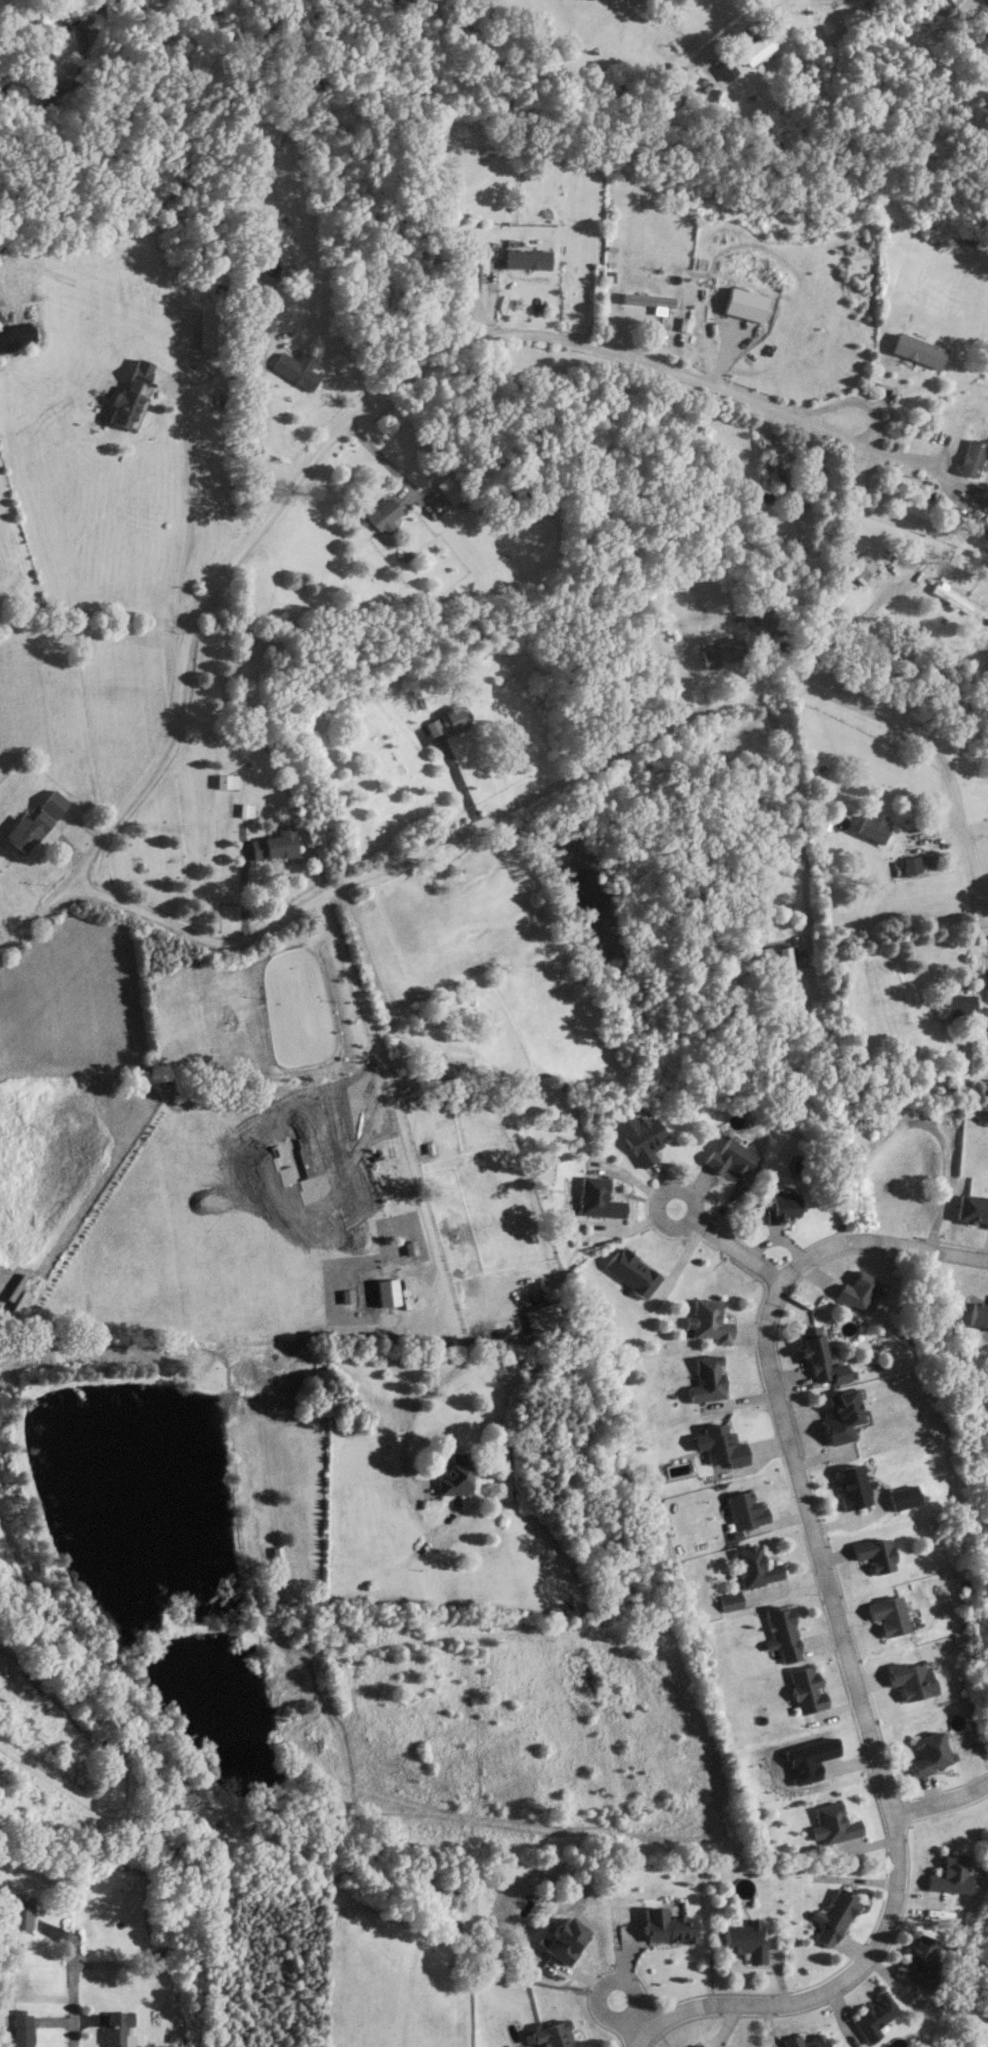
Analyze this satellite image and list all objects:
building: (942, 5)
road: (745, 19)
building: (756, 48)
building: (724, 70)
building: (525, 259)
building: (645, 300)
building: (263, 320)
building: (913, 351)
road: (726, 361)
building: (294, 372)
building: (136, 392)
road: (870, 424)
road: (256, 432)
building: (968, 457)
road: (908, 460)
road: (388, 464)
building: (774, 469)
road: (292, 483)
building: (449, 488)
road: (190, 511)
building: (380, 515)
building: (858, 568)
building: (768, 615)
road: (846, 629)
building: (635, 647)
building: (719, 653)
building: (451, 720)
road: (581, 770)
building: (228, 780)
building: (247, 808)
road: (795, 810)
building: (38, 822)
building: (870, 827)
building: (276, 844)
building: (772, 958)
building: (957, 1005)
building: (984, 1024)
building: (453, 1061)
building: (639, 1138)
building: (726, 1158)
road: (945, 1179)
road: (422, 1192)
road: (689, 1195)
building: (594, 1199)
building: (778, 1207)
building: (972, 1211)
road: (739, 1249)
road: (959, 1255)
building: (630, 1273)
building: (552, 1317)
building: (710, 1322)
building: (813, 1356)
building: (707, 1379)
building: (839, 1417)
building: (723, 1445)
building: (460, 1474)
building: (851, 1486)
building: (902, 1496)
building: (873, 1553)
building: (755, 1566)
building: (730, 1604)
building: (887, 1614)
building: (783, 1631)
road: (857, 1670)
building: (910, 1678)
building: (805, 1688)
building: (929, 1753)
road: (943, 1802)
building: (834, 1823)
building: (949, 1874)
building: (23, 1912)
building: (832, 1917)
building: (666, 1925)
building: (563, 1939)
building: (743, 1939)
building: (917, 1962)
road: (71, 1999)
road: (632, 2016)
building: (871, 2016)
building: (24, 2027)
building: (119, 2027)
building: (553, 2036)
building: (802, 2041)

